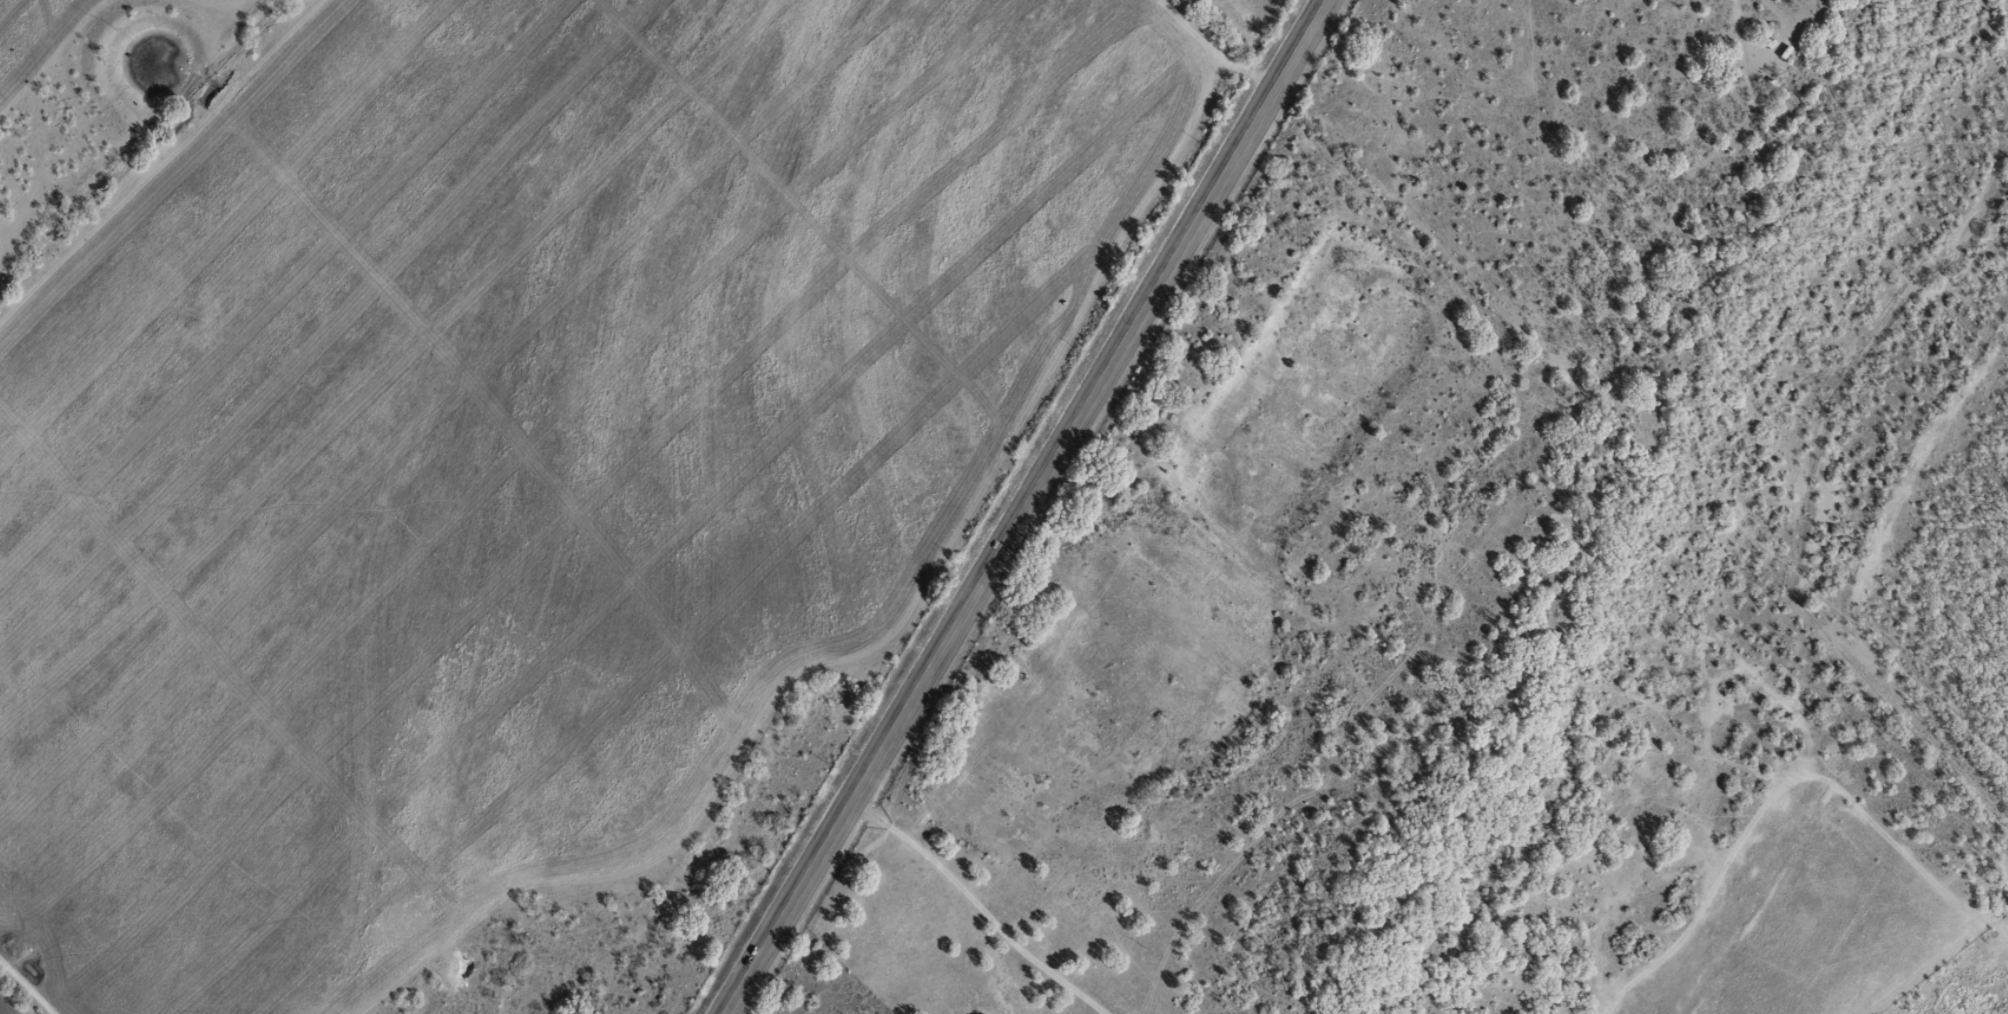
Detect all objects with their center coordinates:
crop: (230, 2)
crop: (34, 34)
crop: (511, 446)
road: (1023, 506)
road: (1699, 849)
road: (951, 912)
crop: (6, 1007)

